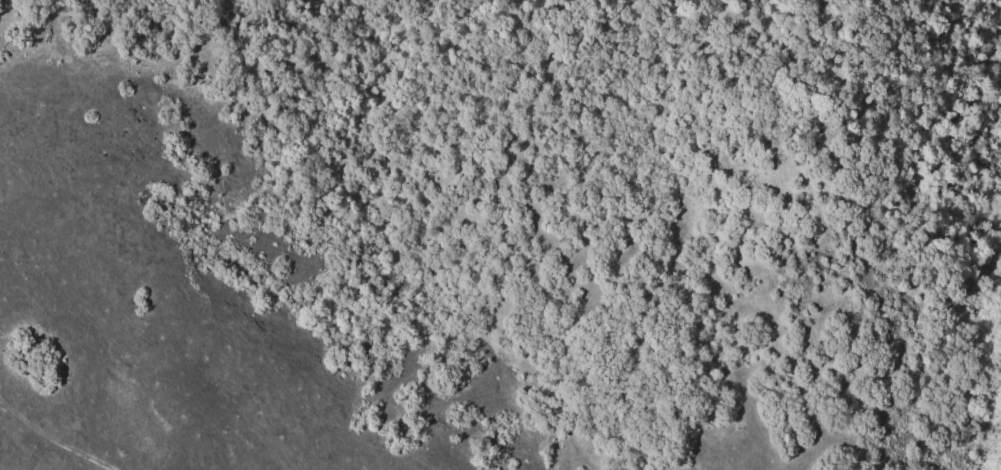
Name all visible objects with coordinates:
road: (53, 438)

